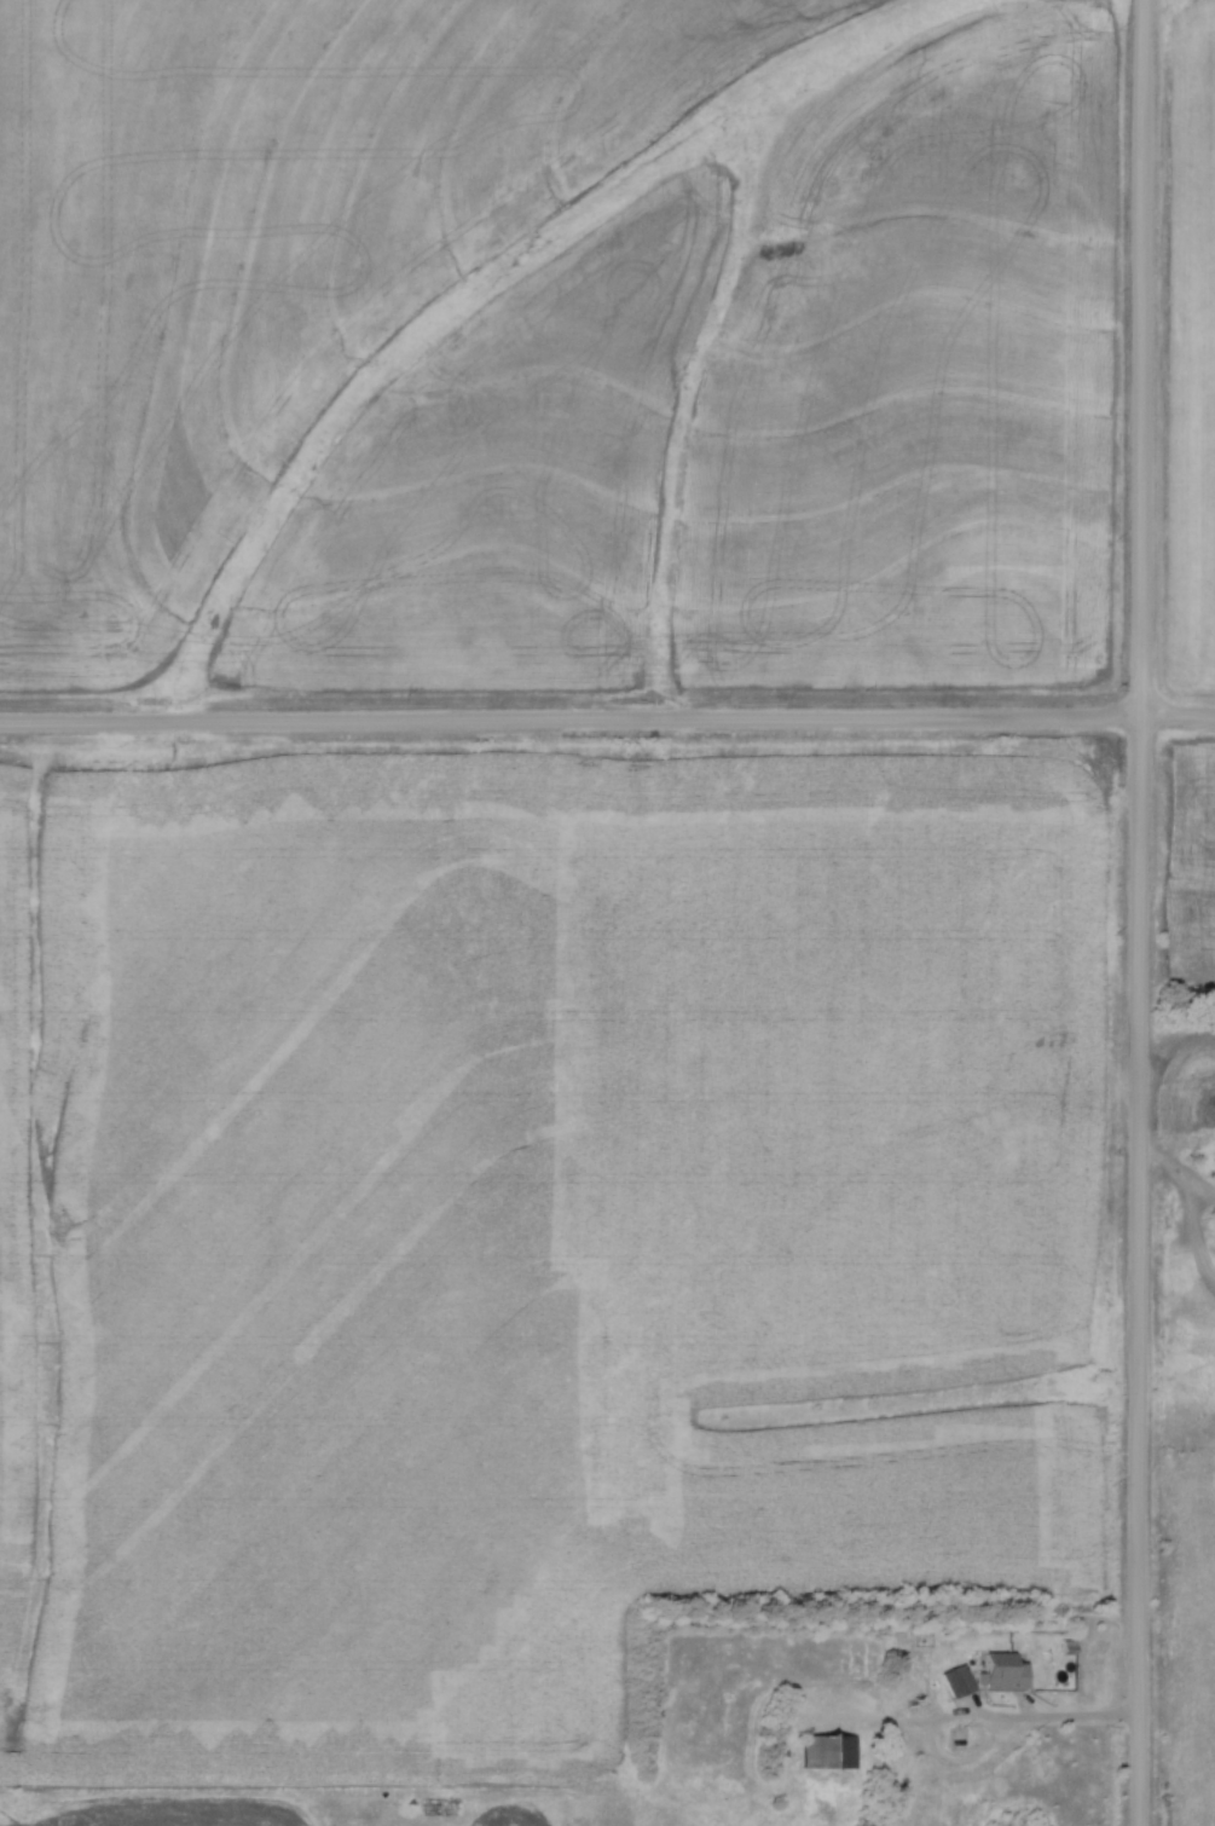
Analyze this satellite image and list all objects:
road: (607, 724)
road: (1140, 912)
building: (996, 1670)
building: (954, 1680)
road: (1074, 1723)
road: (943, 1724)
building: (828, 1751)

